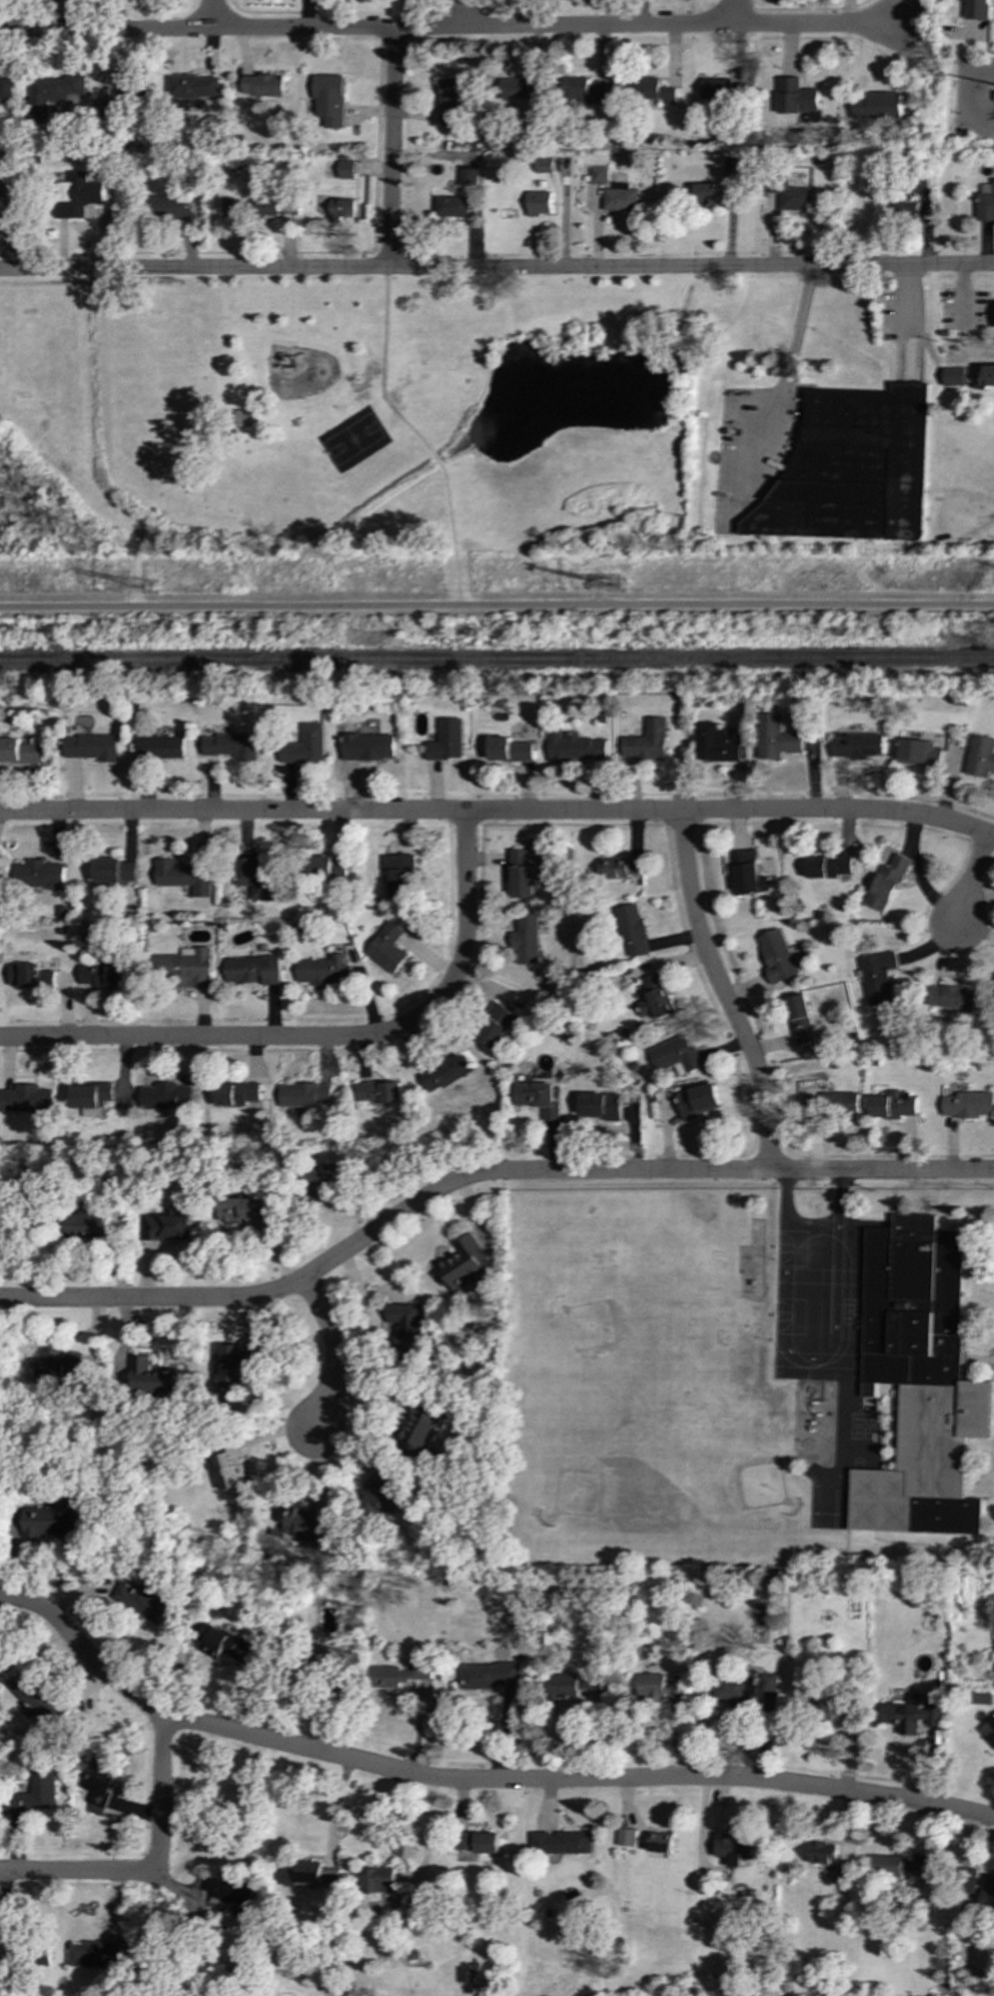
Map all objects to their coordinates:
road: (729, 8)
building: (977, 9)
road: (210, 15)
road: (462, 15)
road: (807, 26)
road: (362, 30)
building: (263, 86)
building: (192, 87)
road: (974, 87)
building: (5, 88)
building: (519, 88)
building: (716, 88)
building: (129, 89)
building: (654, 90)
building: (586, 91)
building: (54, 92)
building: (796, 96)
building: (452, 98)
building: (328, 99)
building: (876, 106)
building: (809, 117)
road: (391, 149)
building: (544, 165)
building: (732, 165)
building: (346, 168)
building: (467, 175)
building: (599, 175)
building: (76, 195)
building: (695, 195)
building: (790, 195)
building: (621, 198)
building: (985, 202)
building: (538, 204)
building: (173, 206)
building: (451, 206)
building: (1, 207)
building: (340, 209)
building: (905, 211)
road: (497, 266)
road: (965, 295)
road: (908, 300)
road: (796, 331)
park: (28, 352)
road: (974, 359)
building: (988, 376)
building: (954, 377)
park: (155, 381)
park: (345, 414)
road: (414, 435)
park: (352, 442)
building: (850, 468)
road: (979, 513)
power tower: (620, 586)
power tower: (156, 589)
road: (496, 605)
railway: (497, 661)
building: (775, 738)
building: (447, 741)
building: (647, 741)
building: (714, 744)
building: (305, 745)
building: (230, 746)
building: (857, 746)
building: (90, 747)
building: (159, 747)
building: (368, 747)
building: (574, 747)
building: (509, 750)
building: (19, 751)
building: (918, 752)
building: (981, 757)
road: (498, 812)
building: (828, 866)
building: (620, 867)
building: (328, 869)
building: (113, 870)
building: (747, 873)
building: (37, 875)
building: (399, 875)
building: (522, 875)
road: (919, 875)
building: (182, 876)
building: (254, 877)
road: (970, 878)
building: (887, 883)
building: (632, 931)
building: (526, 939)
building: (387, 947)
building: (776, 955)
building: (184, 967)
building: (251, 969)
building: (323, 971)
building: (103, 975)
building: (30, 976)
building: (878, 977)
road: (721, 992)
building: (952, 997)
building: (654, 999)
building: (800, 1019)
building: (495, 1026)
road: (322, 1039)
building: (674, 1054)
building: (445, 1073)
building: (379, 1092)
building: (238, 1095)
building: (304, 1095)
building: (91, 1096)
building: (167, 1097)
building: (537, 1099)
building: (26, 1100)
building: (696, 1101)
building: (833, 1104)
building: (967, 1104)
building: (893, 1105)
building: (600, 1106)
road: (480, 1175)
building: (323, 1180)
building: (245, 1212)
building: (87, 1226)
building: (168, 1226)
building: (465, 1268)
building: (406, 1328)
road: (333, 1348)
road: (810, 1359)
building: (233, 1363)
building: (61, 1371)
building: (151, 1377)
building: (919, 1382)
building: (418, 1429)
building: (229, 1469)
building: (380, 1495)
building: (51, 1519)
building: (306, 1522)
building: (141, 1602)
building: (226, 1645)
building: (326, 1655)
building: (398, 1674)
building: (488, 1675)
building: (659, 1685)
building: (575, 1686)
building: (735, 1689)
building: (827, 1706)
building: (903, 1715)
building: (931, 1718)
building: (988, 1730)
road: (473, 1781)
building: (96, 1785)
road: (161, 1790)
building: (34, 1794)
building: (626, 1837)
building: (661, 1842)
building: (561, 1843)
building: (474, 1845)
building: (732, 1848)
building: (823, 1853)
building: (899, 1869)
road: (79, 1873)
building: (312, 1874)
building: (845, 1874)
building: (377, 1880)
building: (988, 1892)
building: (231, 1893)
building: (417, 1904)
building: (95, 1954)
building: (465, 1975)

